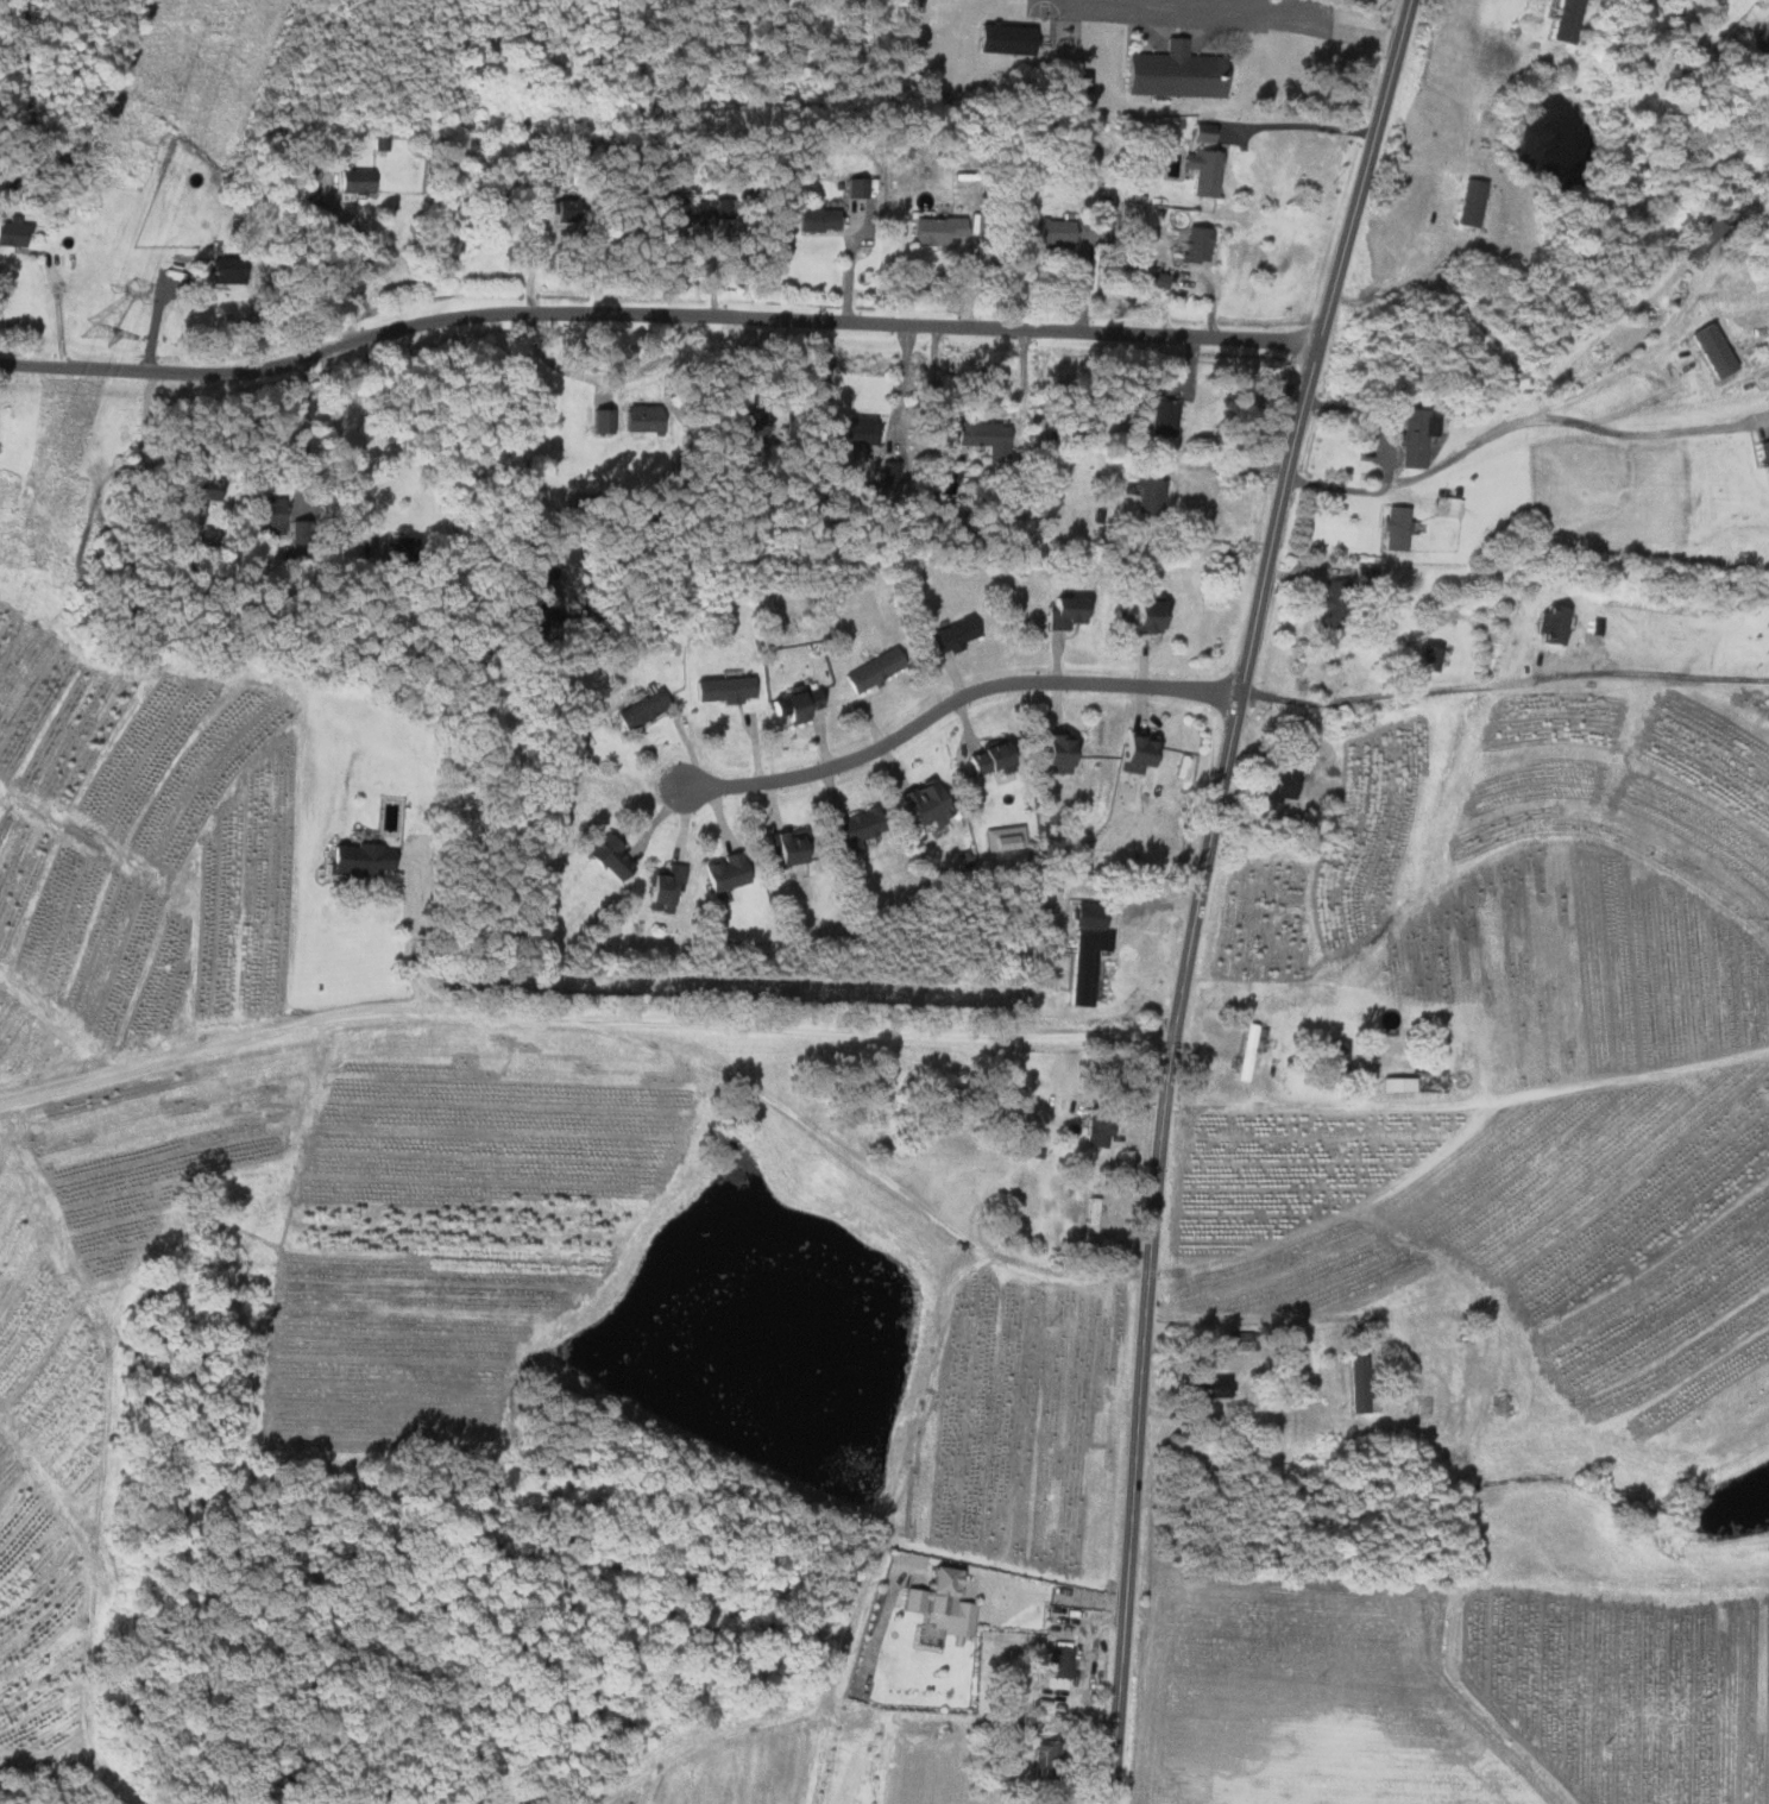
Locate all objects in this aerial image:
building: (1707, 0)
road: (1222, 15)
building: (1566, 20)
building: (1763, 33)
building: (1170, 73)
building: (1081, 82)
road: (1302, 127)
building: (1201, 171)
building: (354, 181)
building: (849, 190)
building: (685, 214)
building: (933, 230)
building: (13, 232)
building: (1051, 233)
building: (1192, 245)
road: (354, 259)
building: (220, 270)
building: (1156, 281)
road: (1387, 285)
road: (654, 316)
power tower: (96, 332)
road: (1651, 344)
building: (1710, 351)
road: (603, 376)
road: (1677, 398)
building: (1160, 419)
building: (636, 420)
road: (1516, 421)
building: (599, 422)
road: (307, 430)
building: (856, 430)
building: (1412, 436)
building: (981, 438)
road: (344, 442)
building: (1763, 460)
road: (1227, 466)
building: (196, 488)
building: (1147, 497)
building: (1444, 507)
building: (264, 513)
building: (1393, 528)
building: (1360, 576)
building: (1328, 606)
building: (1063, 612)
building: (1141, 617)
building: (1550, 626)
building: (950, 635)
building: (1427, 659)
building: (869, 672)
road: (1502, 683)
building: (722, 690)
road: (951, 698)
building: (792, 706)
building: (638, 711)
building: (1052, 753)
building: (1131, 755)
building: (986, 759)
building: (1274, 788)
building: (921, 804)
building: (851, 831)
building: (782, 848)
building: (606, 857)
building: (355, 861)
building: (723, 872)
building: (662, 885)
road: (1198, 892)
building: (1085, 917)
road: (410, 949)
building: (1083, 966)
road: (580, 1016)
park: (1442, 1042)
building: (1245, 1052)
building: (1395, 1085)
road: (1468, 1096)
building: (1095, 1130)
road: (1241, 1321)
building: (1210, 1388)
road: (1056, 1591)
building: (938, 1602)
building: (1060, 1661)
road: (1083, 1673)
building: (1044, 1703)

